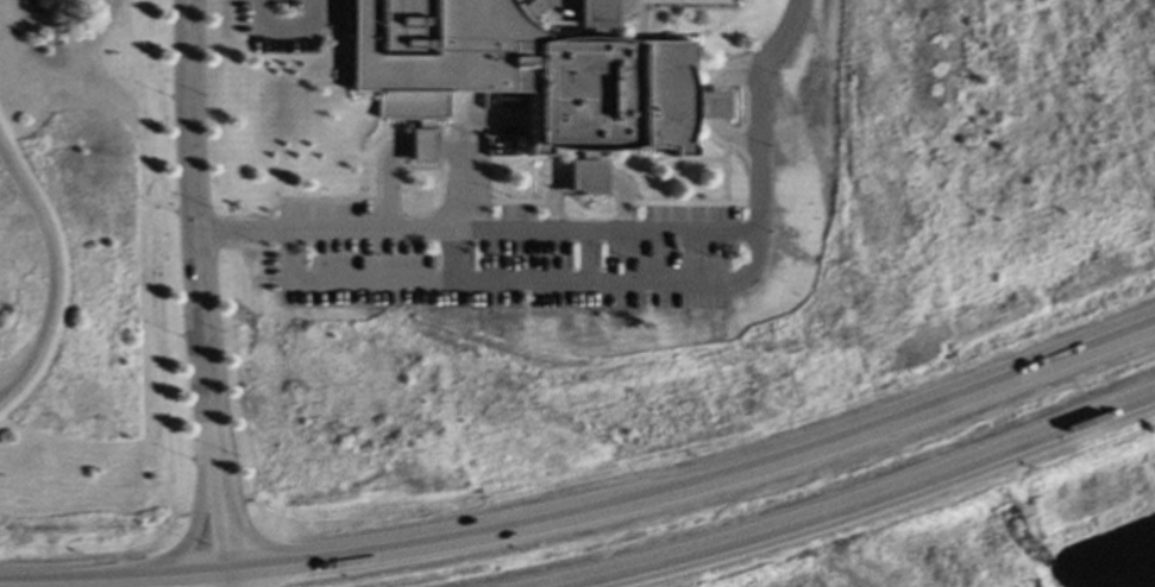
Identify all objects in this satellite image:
road: (283, 23)
building: (433, 55)
building: (603, 94)
road: (708, 101)
road: (190, 115)
road: (427, 146)
road: (586, 177)
road: (469, 182)
road: (390, 184)
road: (626, 201)
road: (553, 202)
road: (597, 233)
road: (588, 257)
road: (57, 270)
road: (517, 280)
road: (203, 326)
road: (699, 482)
road: (220, 496)
road: (848, 498)
road: (200, 505)
road: (193, 573)
road: (79, 579)
road: (228, 579)

